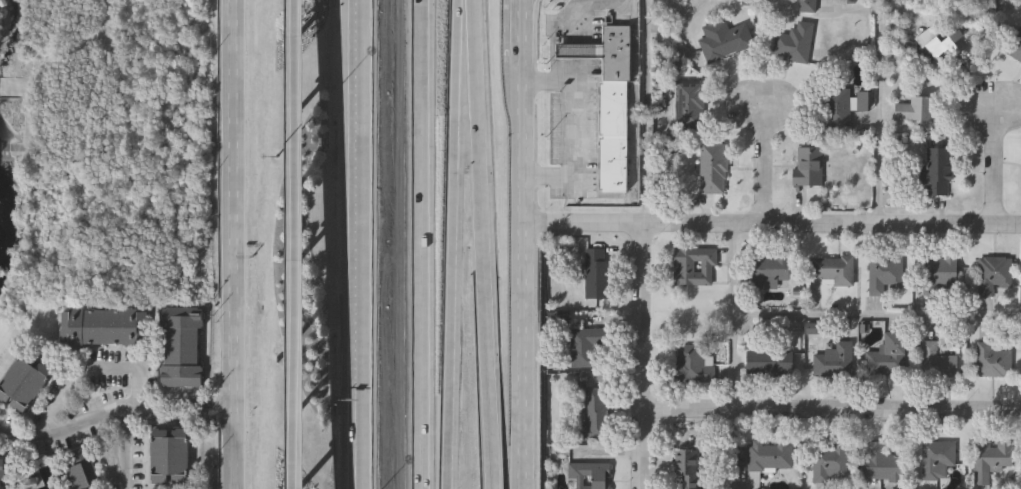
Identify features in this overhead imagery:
road: (519, 8)
road: (524, 8)
road: (592, 18)
building: (725, 40)
building: (794, 43)
building: (946, 44)
building: (1016, 47)
building: (578, 52)
gas station: (578, 52)
road: (581, 52)
building: (617, 54)
road: (551, 79)
building: (690, 104)
building: (842, 106)
building: (915, 110)
road: (880, 113)
road: (649, 114)
building: (614, 136)
road: (578, 143)
road: (765, 166)
building: (809, 167)
building: (712, 168)
road: (994, 169)
building: (937, 171)
road: (772, 226)
road: (235, 244)
road: (298, 244)
road: (358, 244)
road: (415, 244)
road: (452, 244)
road: (481, 244)
road: (525, 244)
building: (694, 266)
building: (770, 268)
building: (830, 268)
building: (885, 272)
building: (596, 273)
building: (940, 273)
building: (992, 274)
road: (734, 317)
road: (878, 317)
building: (106, 328)
building: (182, 347)
building: (585, 347)
building: (886, 354)
road: (644, 359)
building: (833, 360)
building: (936, 360)
building: (991, 360)
building: (768, 361)
building: (693, 364)
road: (88, 378)
building: (23, 384)
road: (832, 409)
road: (137, 414)
building: (594, 415)
road: (68, 432)
road: (735, 448)
road: (124, 453)
building: (768, 455)
building: (170, 457)
building: (937, 458)
building: (991, 458)
building: (881, 462)
building: (830, 463)
building: (685, 467)
building: (78, 470)
building: (1, 473)
building: (590, 474)

